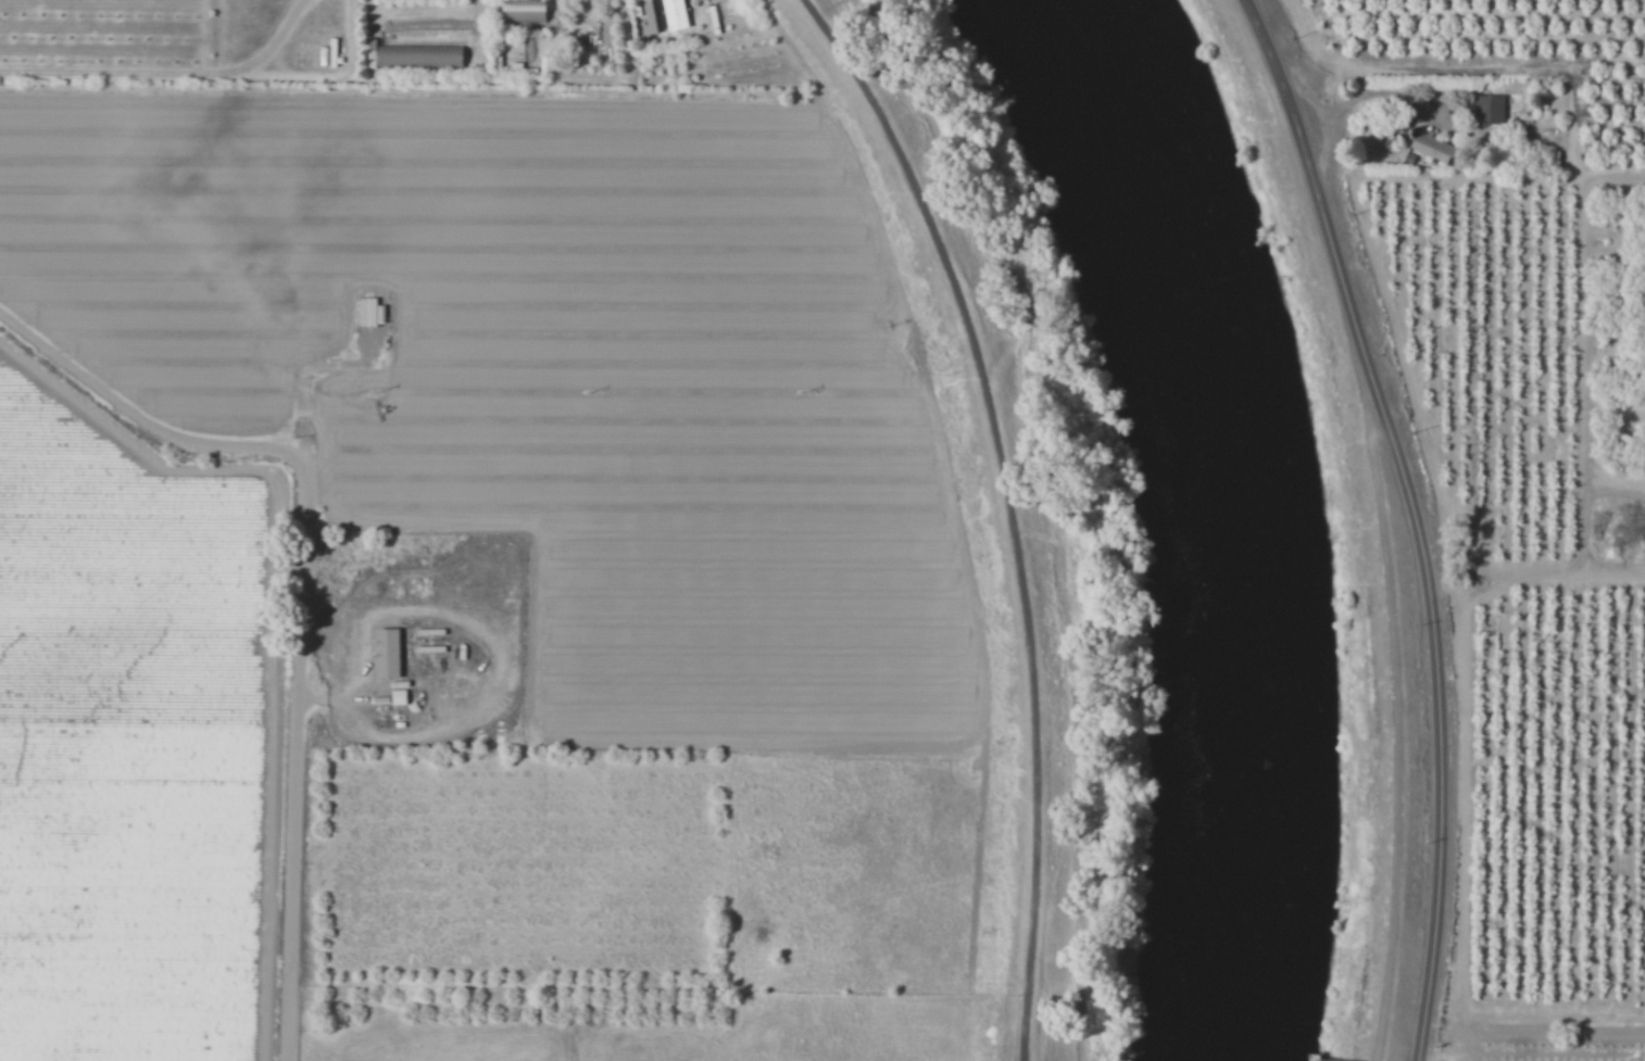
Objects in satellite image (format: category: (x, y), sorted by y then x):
building: (528, 12)
building: (669, 16)
building: (422, 56)
road: (169, 73)
road: (1369, 103)
building: (1489, 111)
building: (1430, 147)
building: (371, 312)
road: (1006, 508)
river: (1229, 515)
road: (1421, 517)
road: (299, 593)
building: (391, 653)
building: (401, 697)

